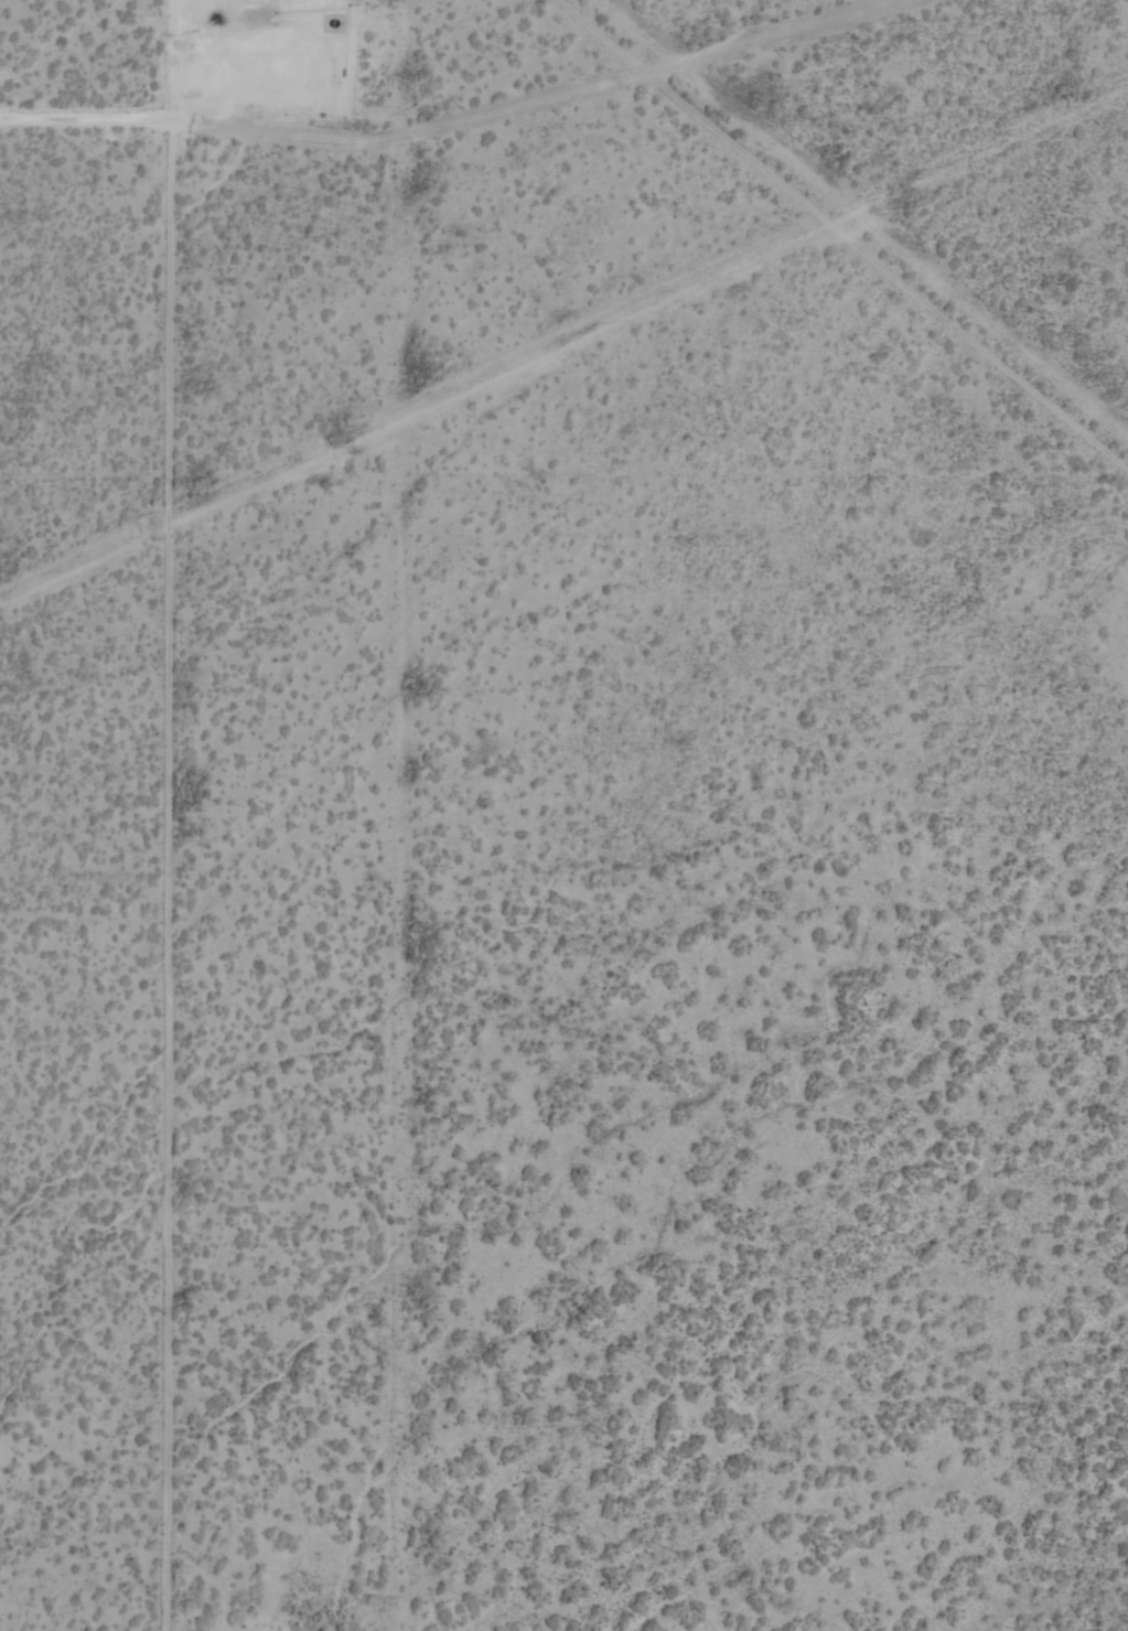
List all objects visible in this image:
road: (327, 53)
road: (258, 83)
road: (90, 118)
road: (169, 865)

